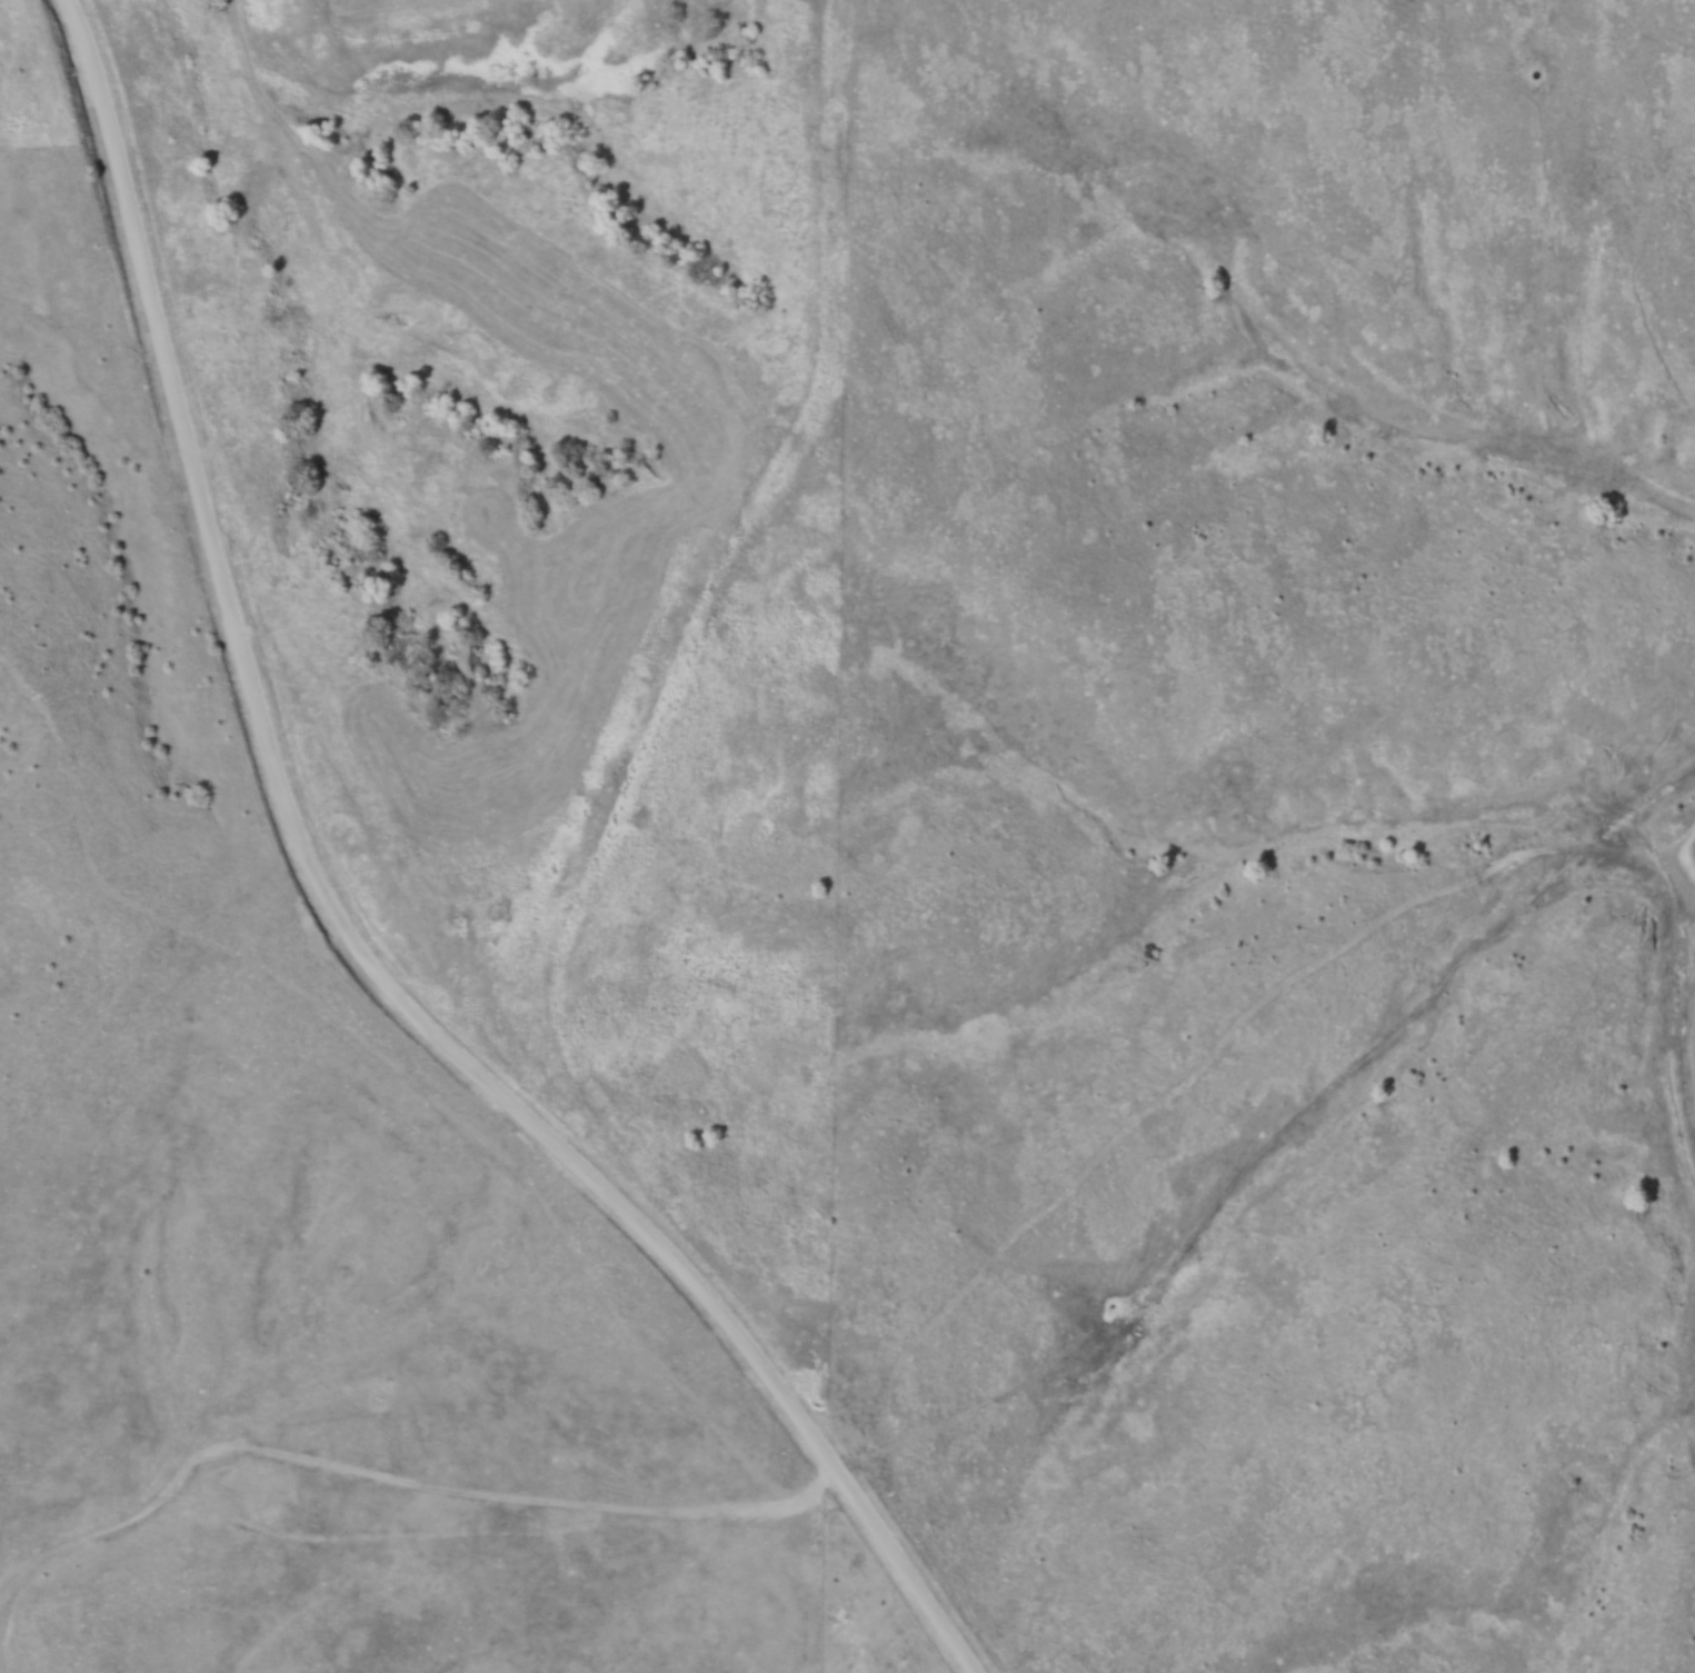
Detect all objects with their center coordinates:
road: (345, 934)

